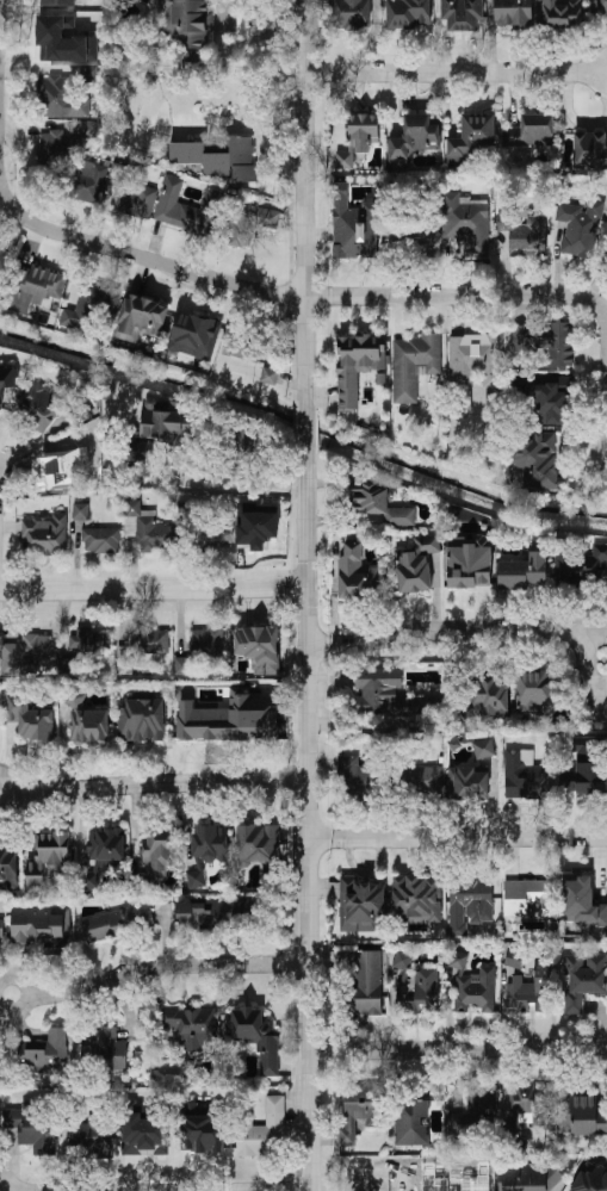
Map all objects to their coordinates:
building: (57, 2)
building: (602, 6)
building: (513, 11)
building: (352, 13)
building: (408, 13)
building: (462, 13)
building: (560, 13)
building: (187, 26)
building: (66, 38)
road: (0, 60)
building: (87, 73)
road: (456, 73)
building: (54, 95)
building: (532, 130)
building: (472, 134)
building: (359, 136)
building: (413, 137)
building: (52, 147)
building: (589, 149)
building: (218, 159)
building: (87, 180)
building: (131, 193)
road: (304, 206)
building: (187, 207)
building: (250, 222)
building: (466, 222)
building: (352, 224)
building: (580, 227)
building: (413, 234)
building: (525, 234)
building: (36, 286)
road: (293, 293)
building: (91, 303)
building: (140, 316)
building: (194, 335)
building: (544, 341)
building: (243, 345)
building: (414, 362)
building: (475, 362)
building: (357, 364)
building: (270, 374)
building: (8, 376)
building: (547, 397)
building: (50, 407)
road: (305, 433)
building: (151, 434)
building: (86, 436)
building: (237, 448)
building: (538, 460)
building: (66, 469)
road: (225, 486)
building: (380, 504)
building: (80, 510)
building: (147, 528)
building: (44, 534)
building: (211, 534)
building: (101, 539)
building: (469, 562)
building: (416, 563)
building: (582, 566)
building: (522, 570)
building: (355, 572)
road: (153, 589)
road: (588, 632)
road: (436, 633)
building: (205, 639)
building: (89, 643)
building: (141, 646)
building: (259, 646)
building: (26, 652)
road: (587, 671)
building: (535, 689)
building: (388, 694)
building: (491, 695)
building: (27, 715)
building: (85, 718)
building: (229, 718)
building: (143, 719)
building: (483, 748)
building: (524, 775)
road: (85, 777)
building: (357, 777)
building: (419, 780)
building: (587, 780)
road: (154, 782)
building: (467, 782)
road: (308, 821)
road: (144, 823)
road: (457, 837)
building: (210, 840)
building: (255, 843)
building: (159, 849)
building: (103, 852)
building: (49, 858)
building: (8, 868)
building: (196, 877)
building: (527, 897)
building: (416, 898)
building: (469, 902)
building: (582, 902)
building: (360, 904)
building: (196, 913)
building: (117, 923)
building: (1, 926)
building: (41, 926)
building: (514, 957)
road: (157, 963)
building: (582, 979)
building: (365, 981)
building: (415, 982)
building: (471, 984)
building: (531, 988)
building: (192, 1026)
building: (255, 1035)
building: (109, 1048)
road: (458, 1049)
building: (44, 1052)
building: (2, 1054)
building: (476, 1104)
building: (531, 1104)
building: (358, 1110)
building: (583, 1116)
building: (411, 1122)
building: (32, 1125)
building: (200, 1128)
building: (261, 1128)
building: (143, 1131)
building: (89, 1135)
road: (370, 1161)
building: (528, 1176)
building: (590, 1178)
building: (404, 1184)

